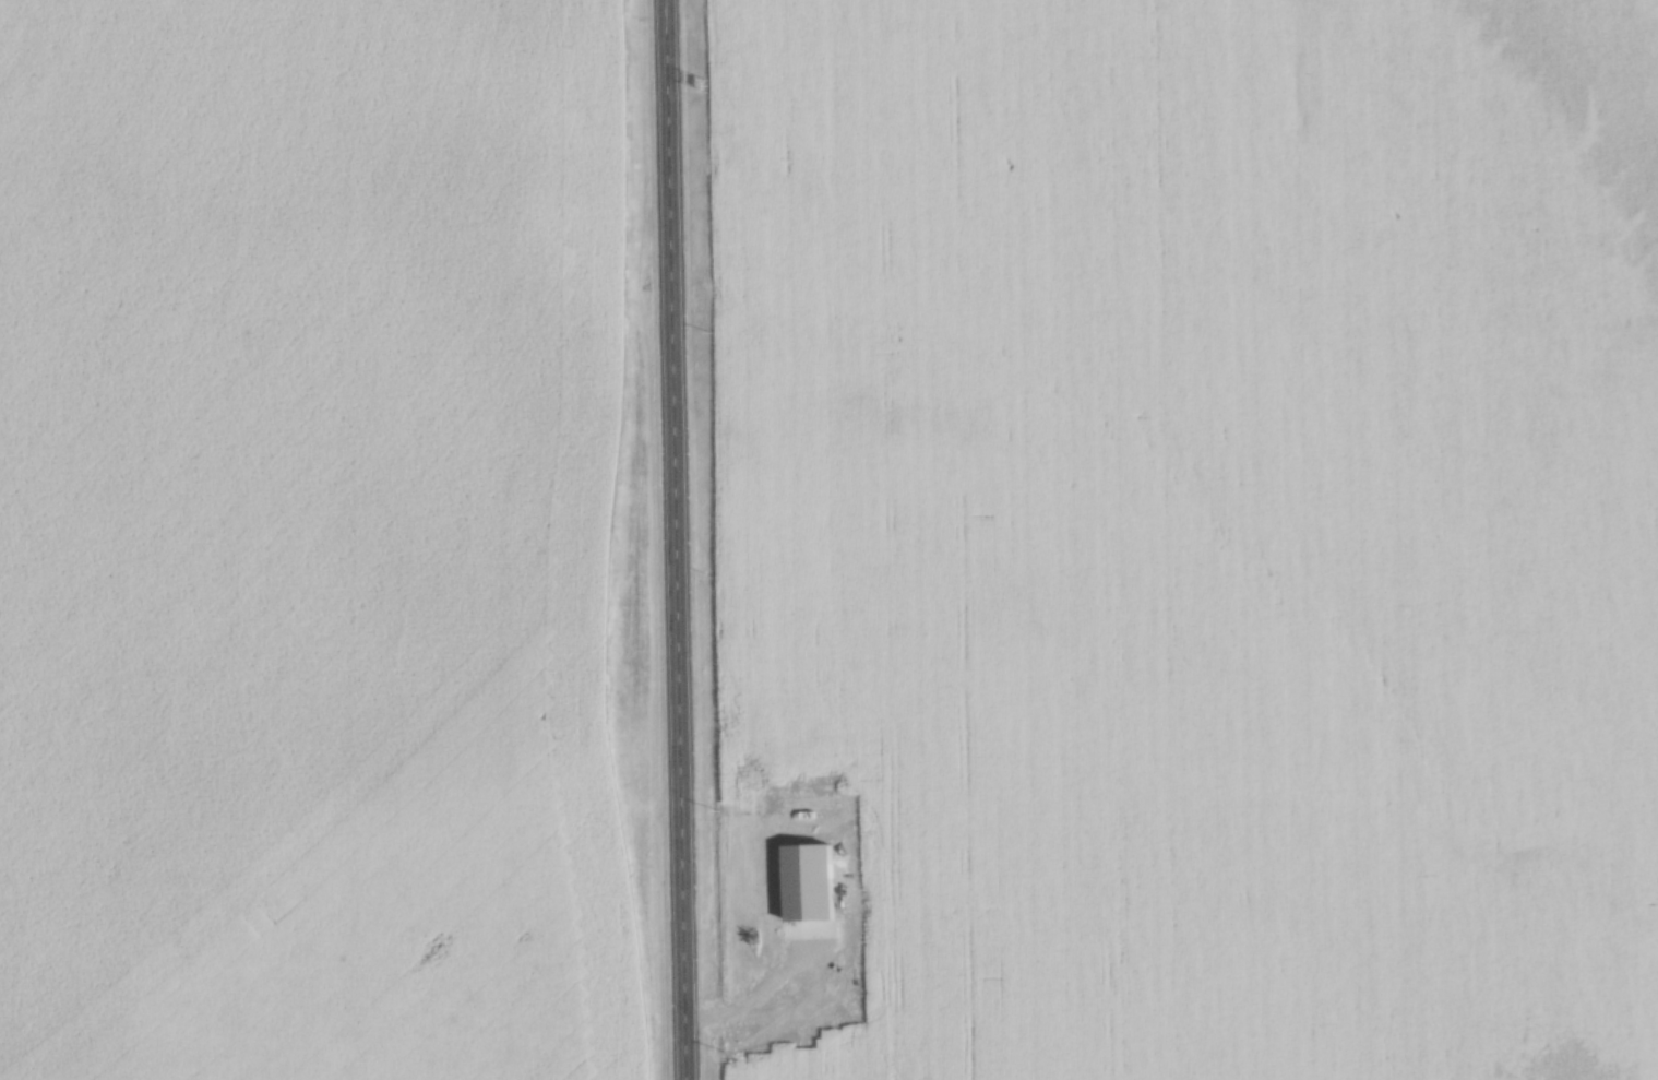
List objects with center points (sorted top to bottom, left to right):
road: (672, 539)
road: (338, 748)

